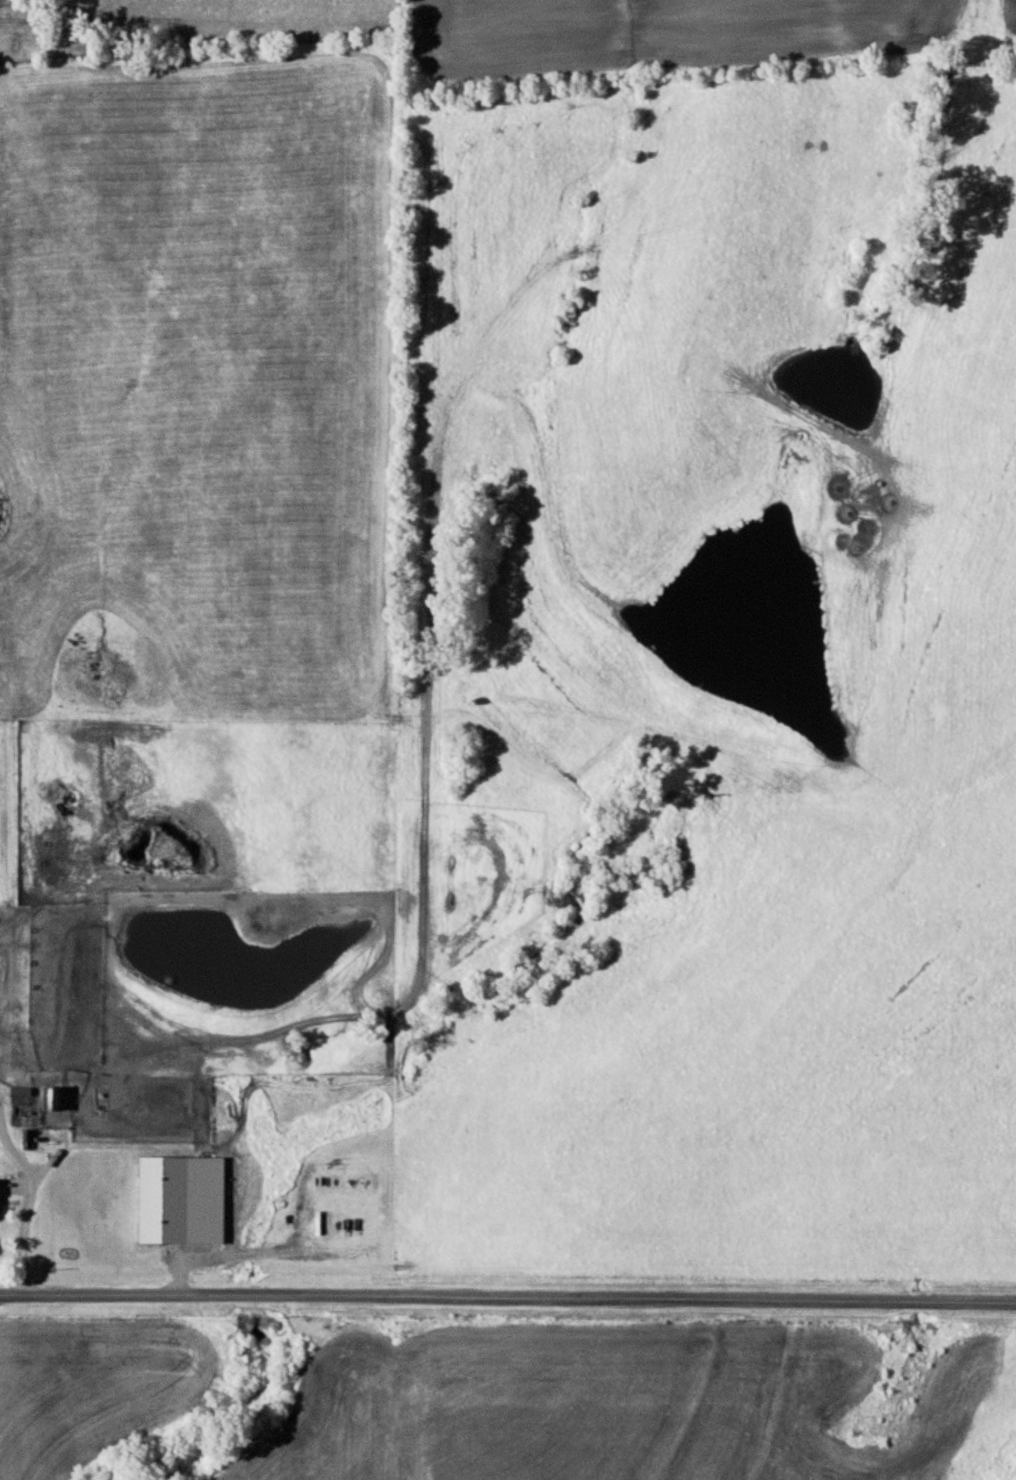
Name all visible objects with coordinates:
building: (52, 1094)
road: (508, 1295)

